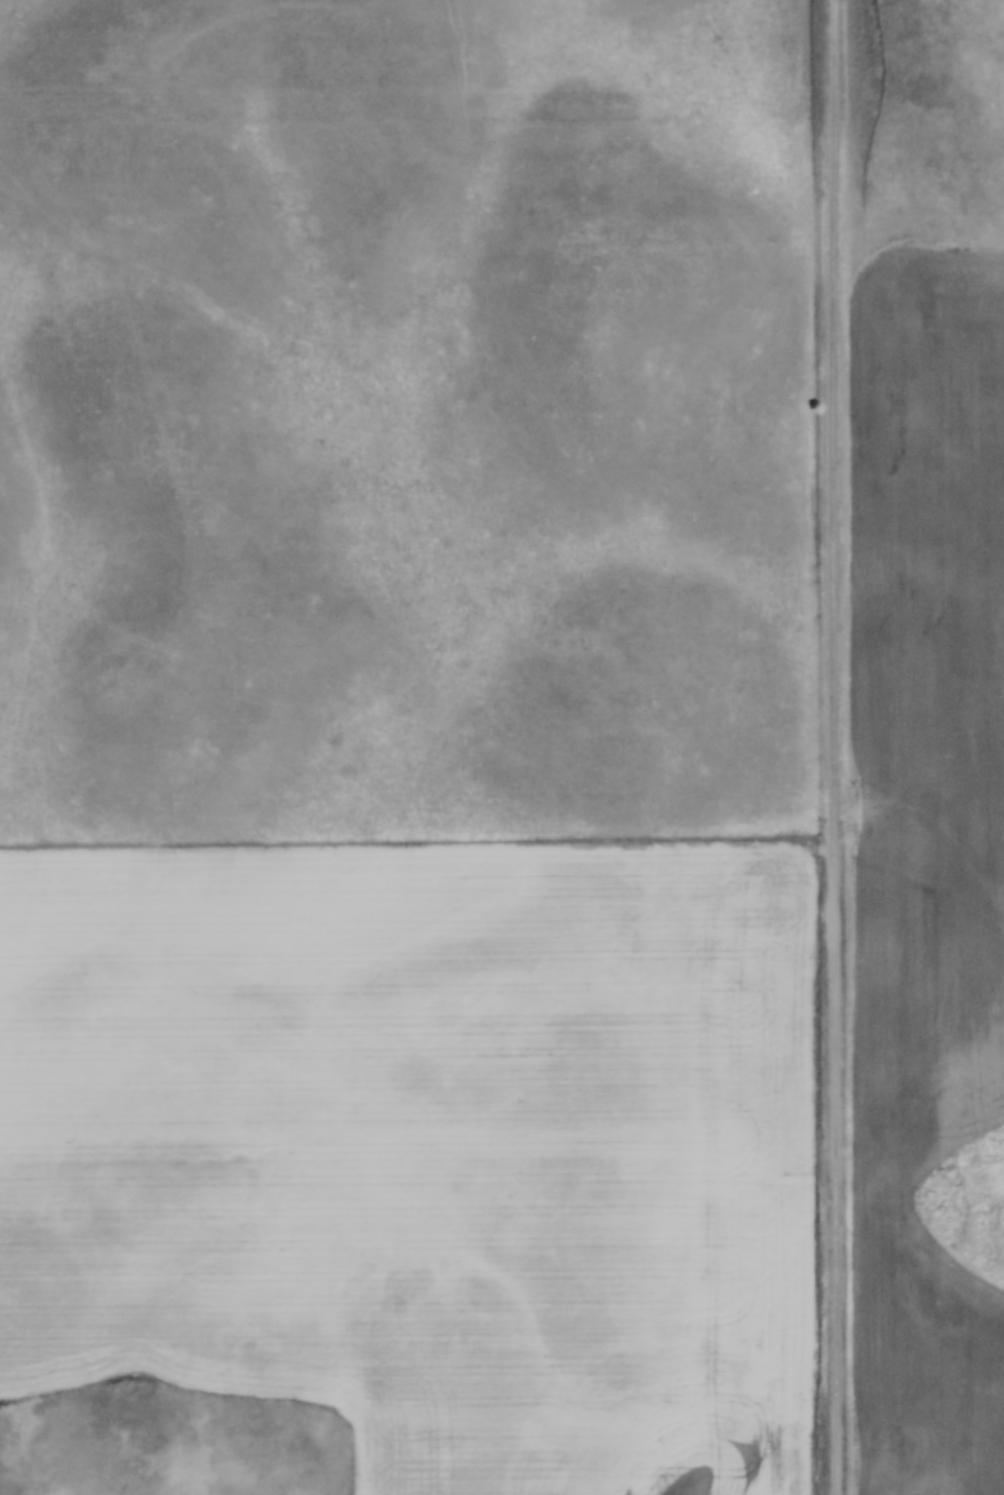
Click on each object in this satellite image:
road: (835, 747)

